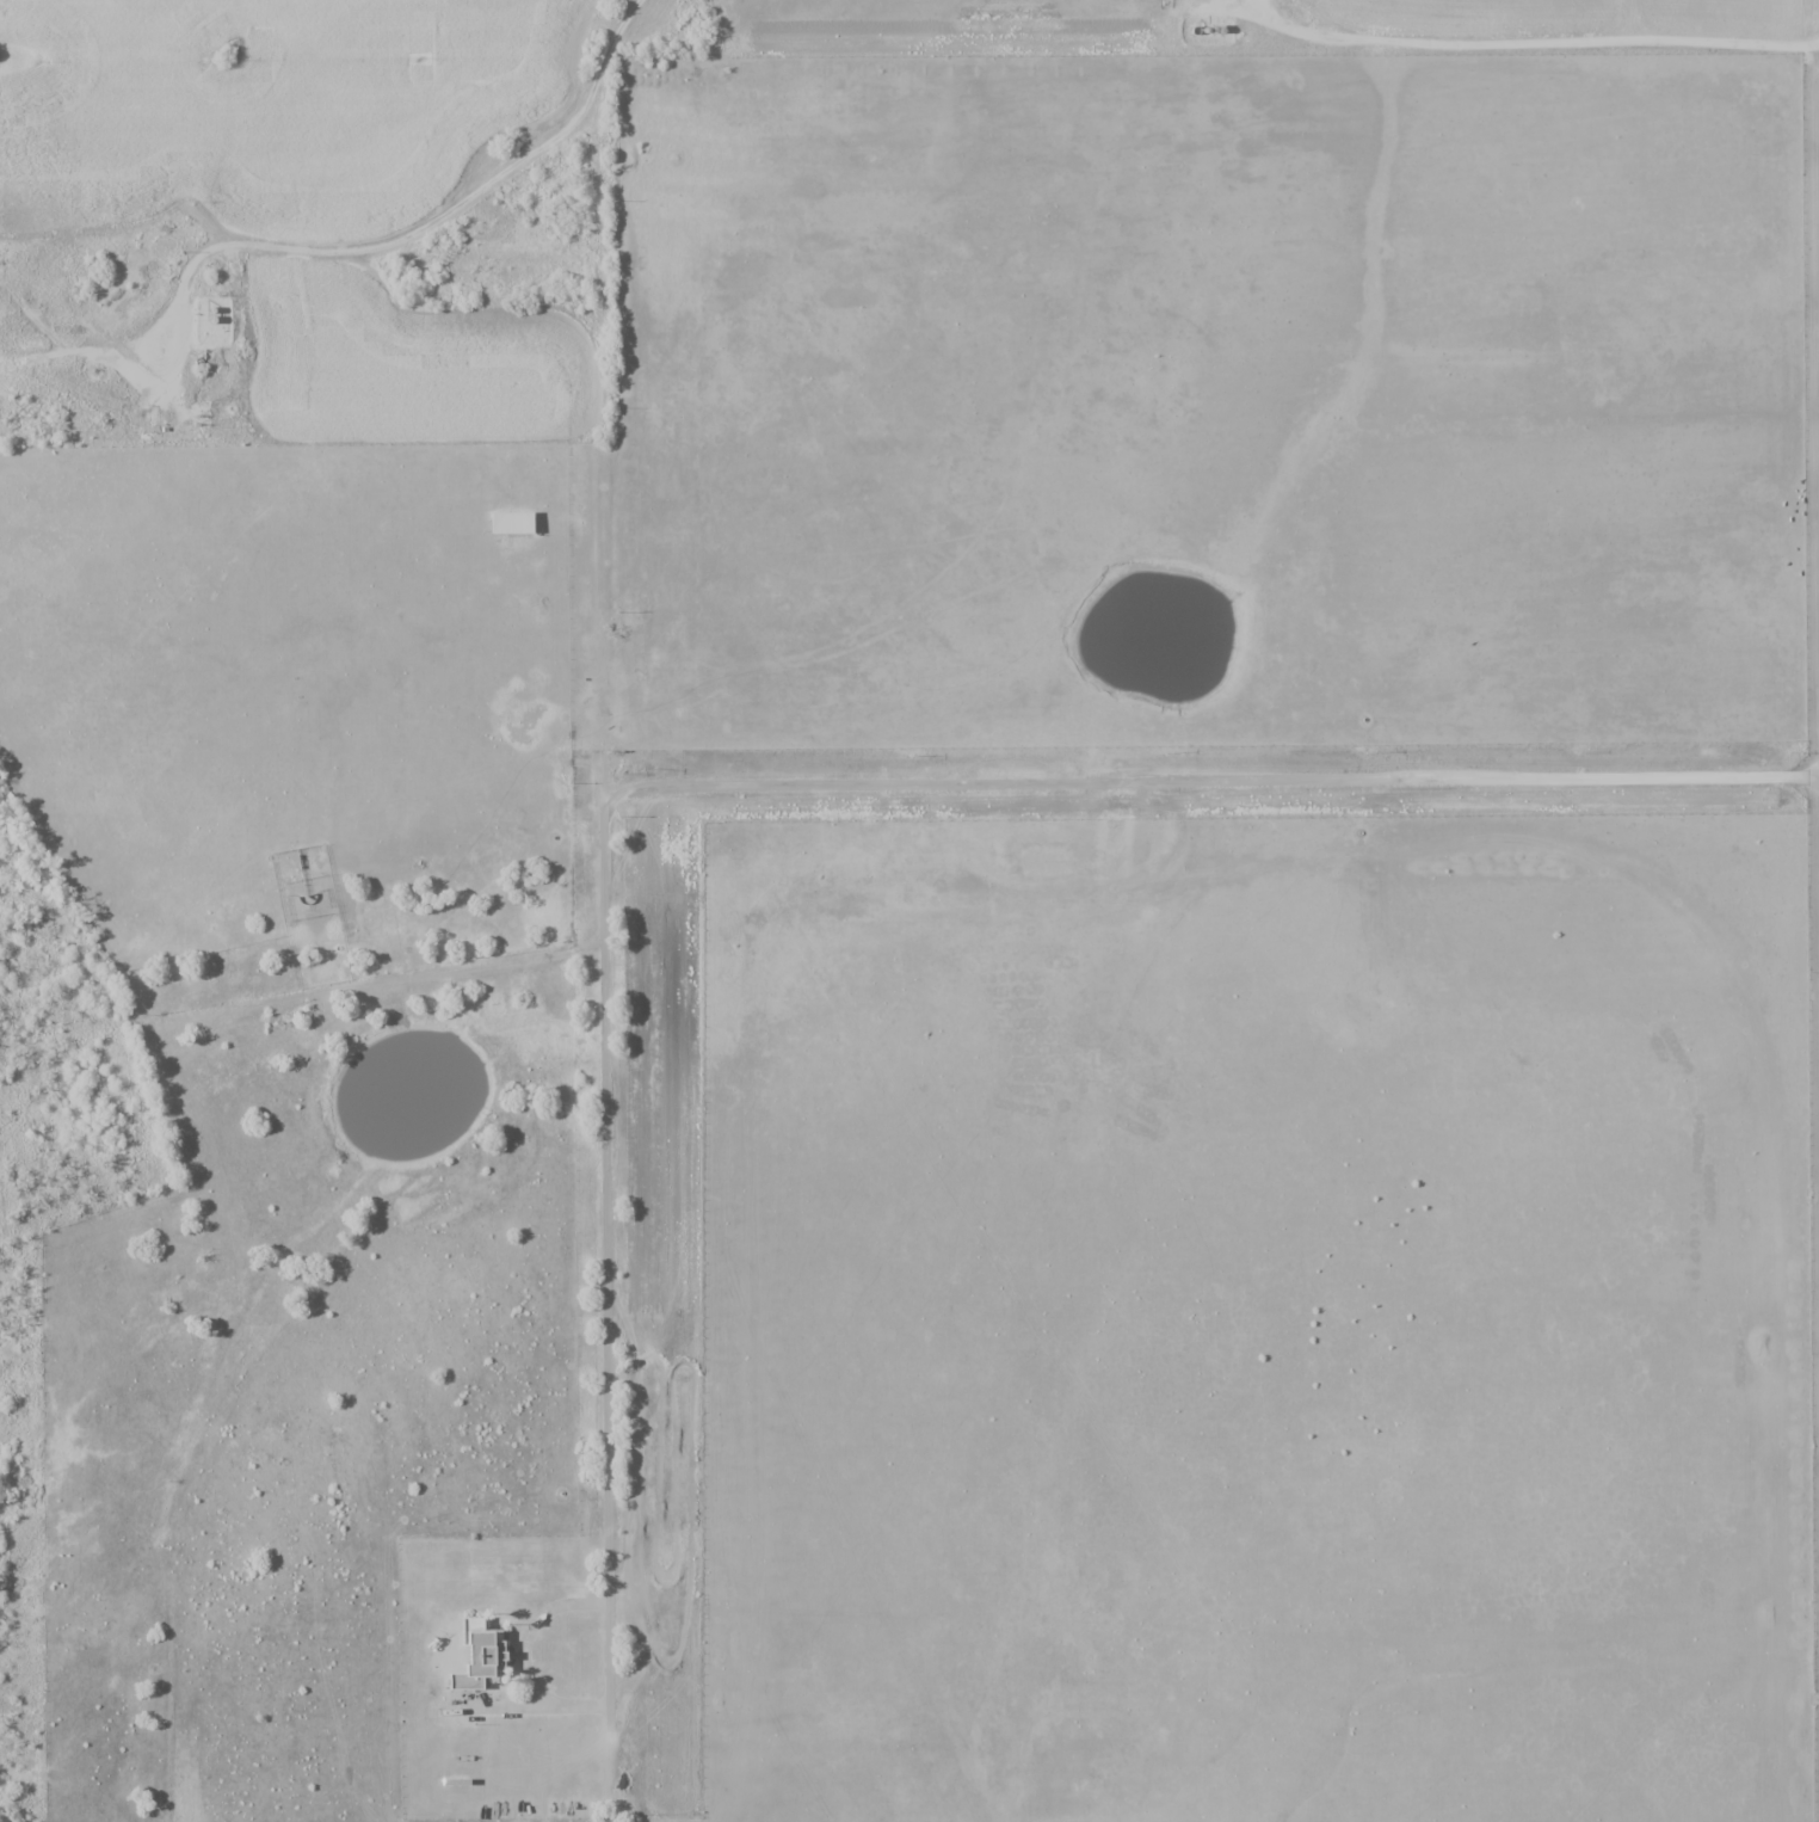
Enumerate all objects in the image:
road: (352, 248)
building: (511, 523)
road: (820, 783)
building: (479, 1655)

